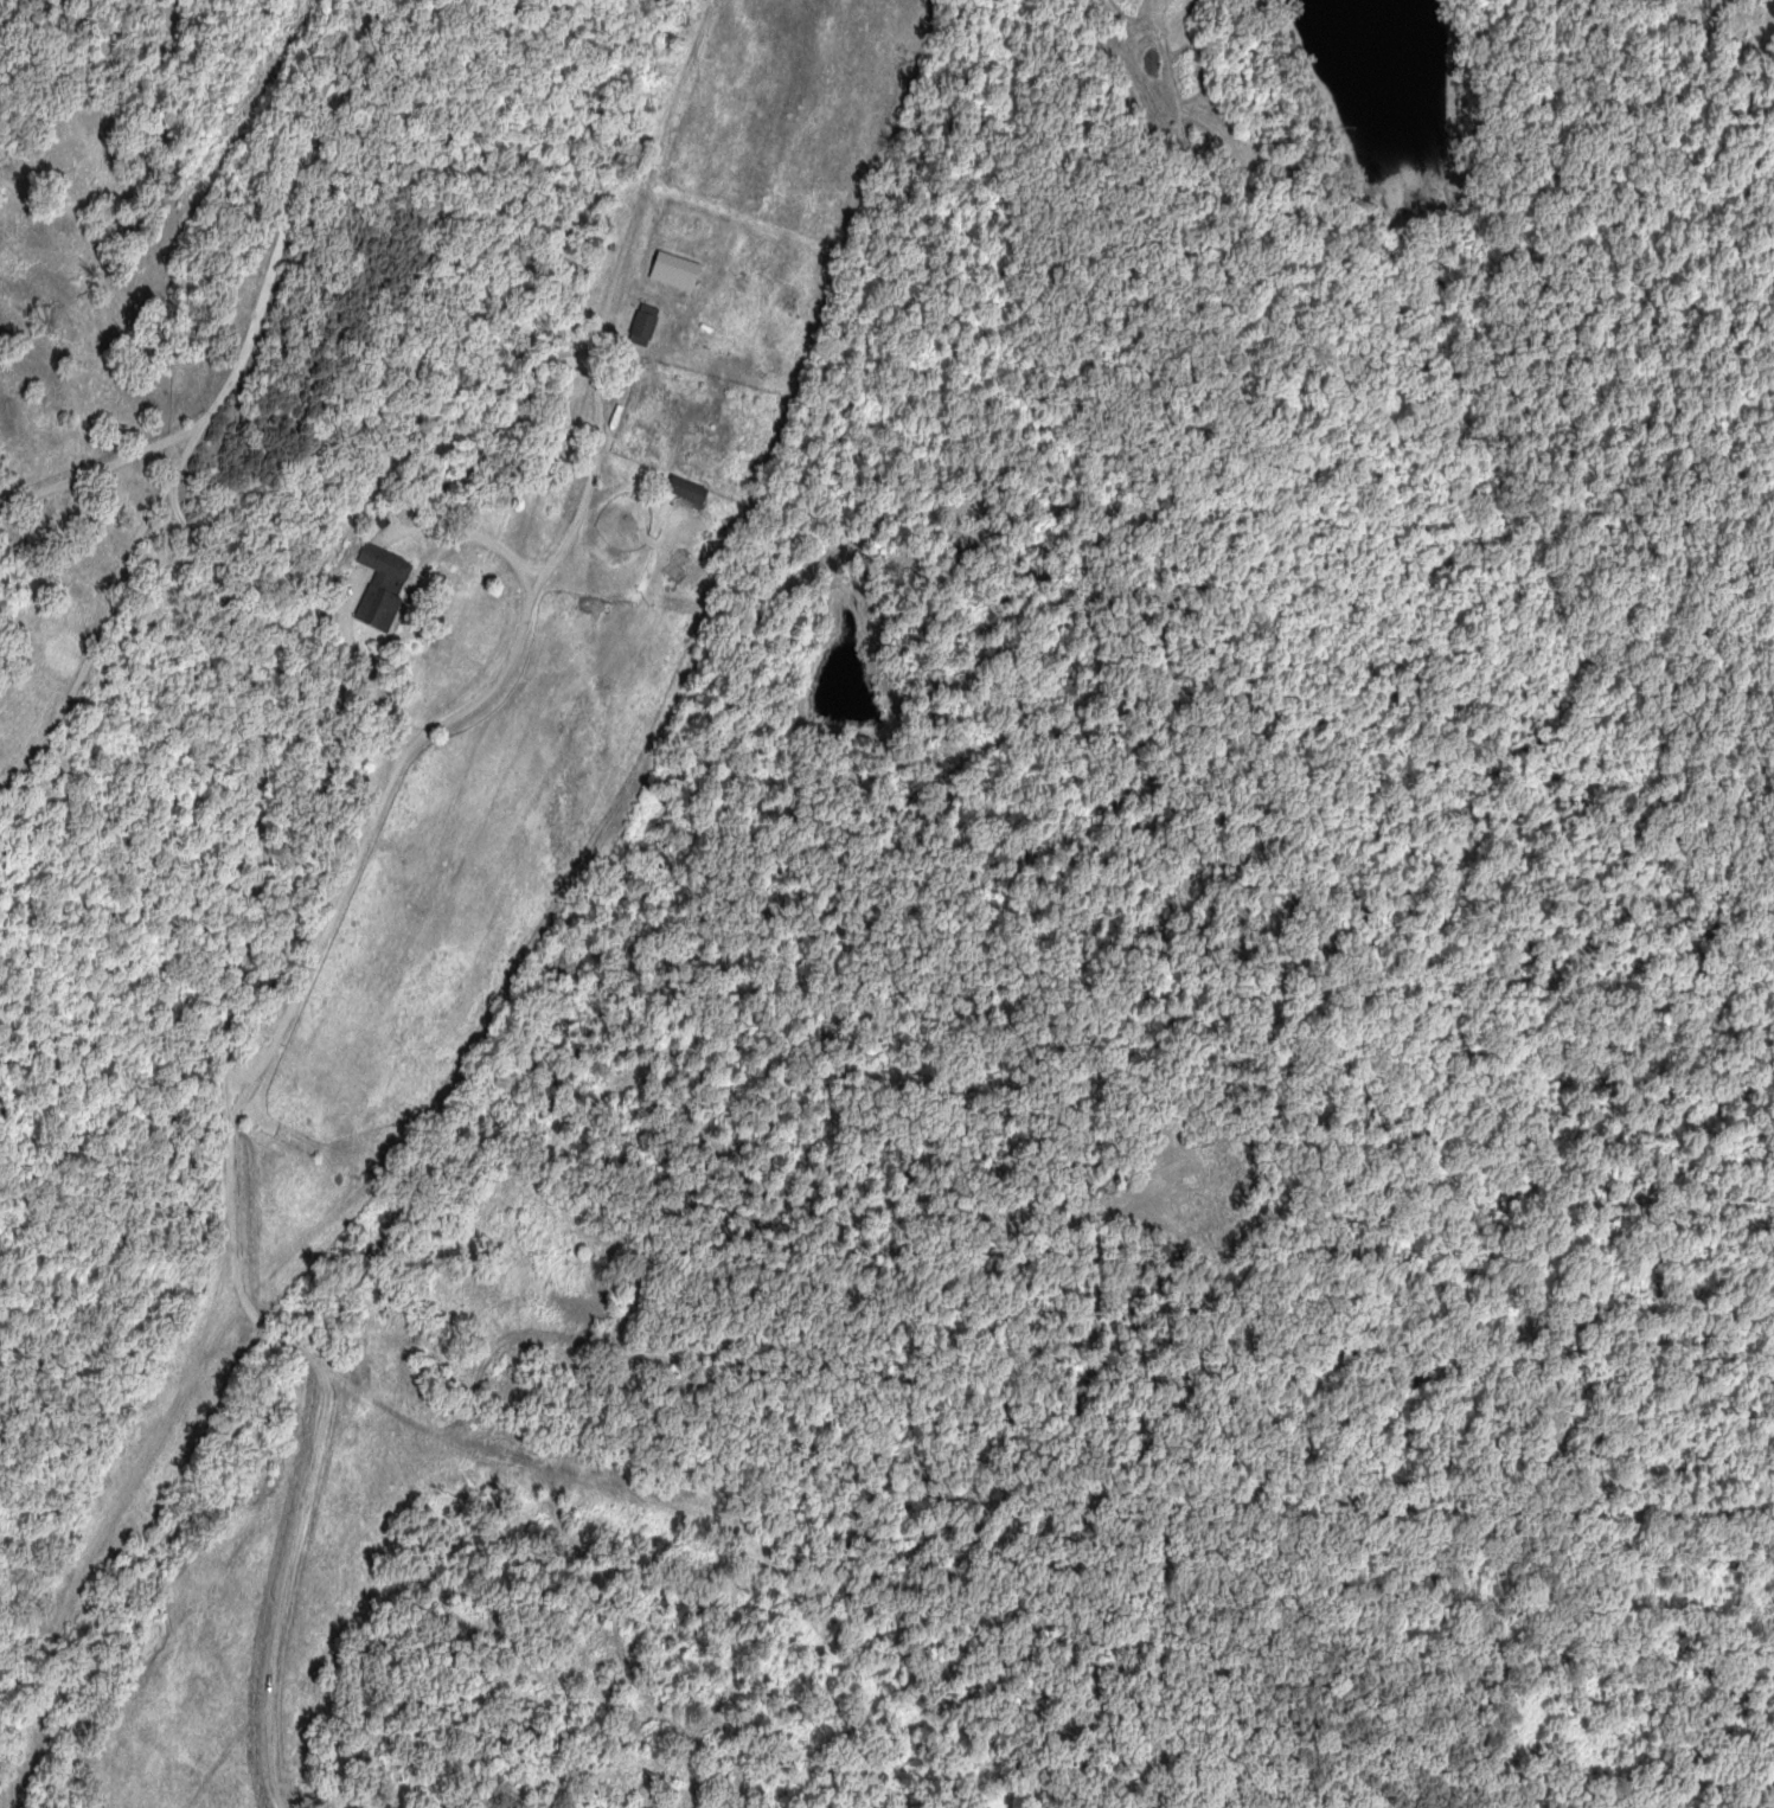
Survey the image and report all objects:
building: (678, 269)
road: (136, 280)
road: (252, 316)
building: (647, 323)
building: (690, 488)
building: (385, 585)
road: (100, 607)
road: (296, 616)
road: (232, 1172)

